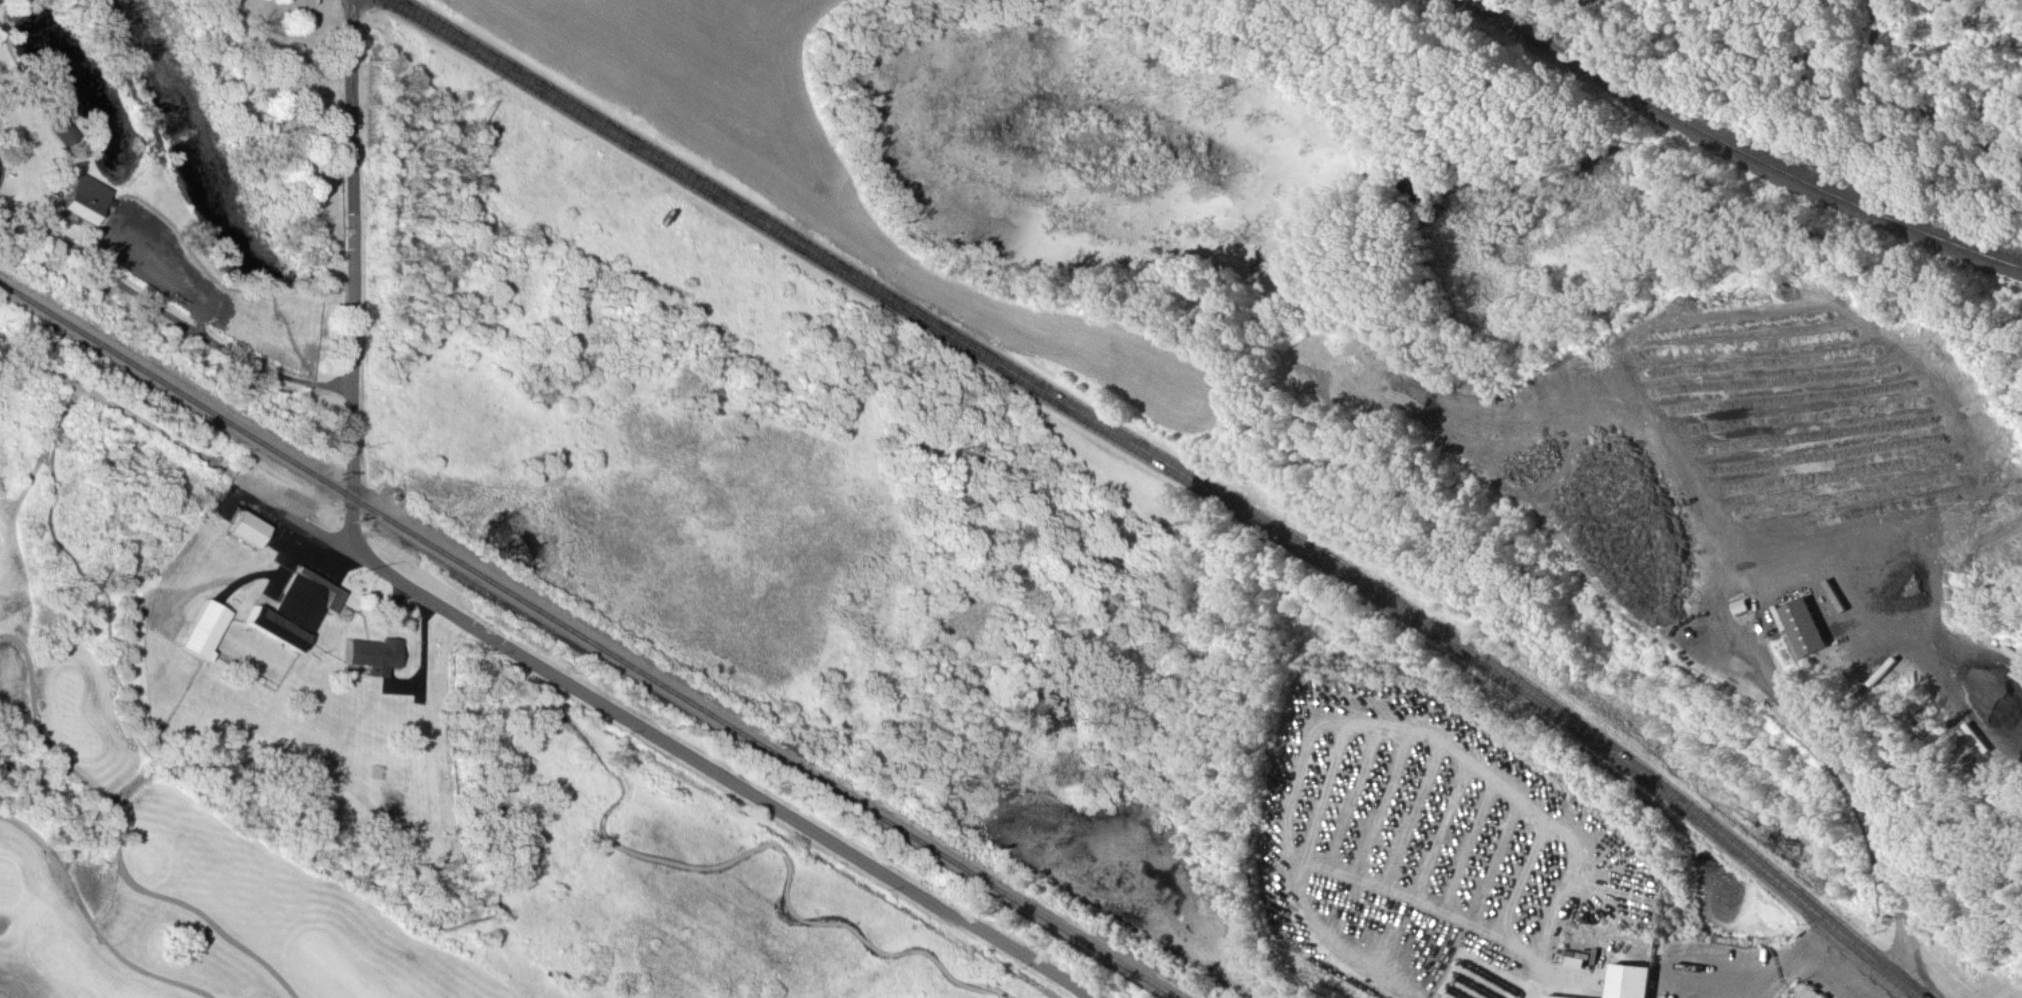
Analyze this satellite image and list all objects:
building: (60, 129)
railway: (1739, 145)
building: (85, 200)
road: (353, 285)
road: (146, 306)
road: (1130, 440)
road: (188, 448)
building: (248, 530)
building: (306, 600)
building: (1742, 608)
building: (203, 629)
building: (274, 629)
building: (1808, 629)
railway: (590, 639)
building: (371, 655)
road: (730, 780)
road: (1863, 783)
park: (173, 796)
road: (118, 839)
road: (92, 921)
road: (1881, 960)
road: (1758, 965)
road: (1831, 976)
park: (930, 978)
building: (1624, 980)
building: (1811, 992)
building: (1558, 996)

